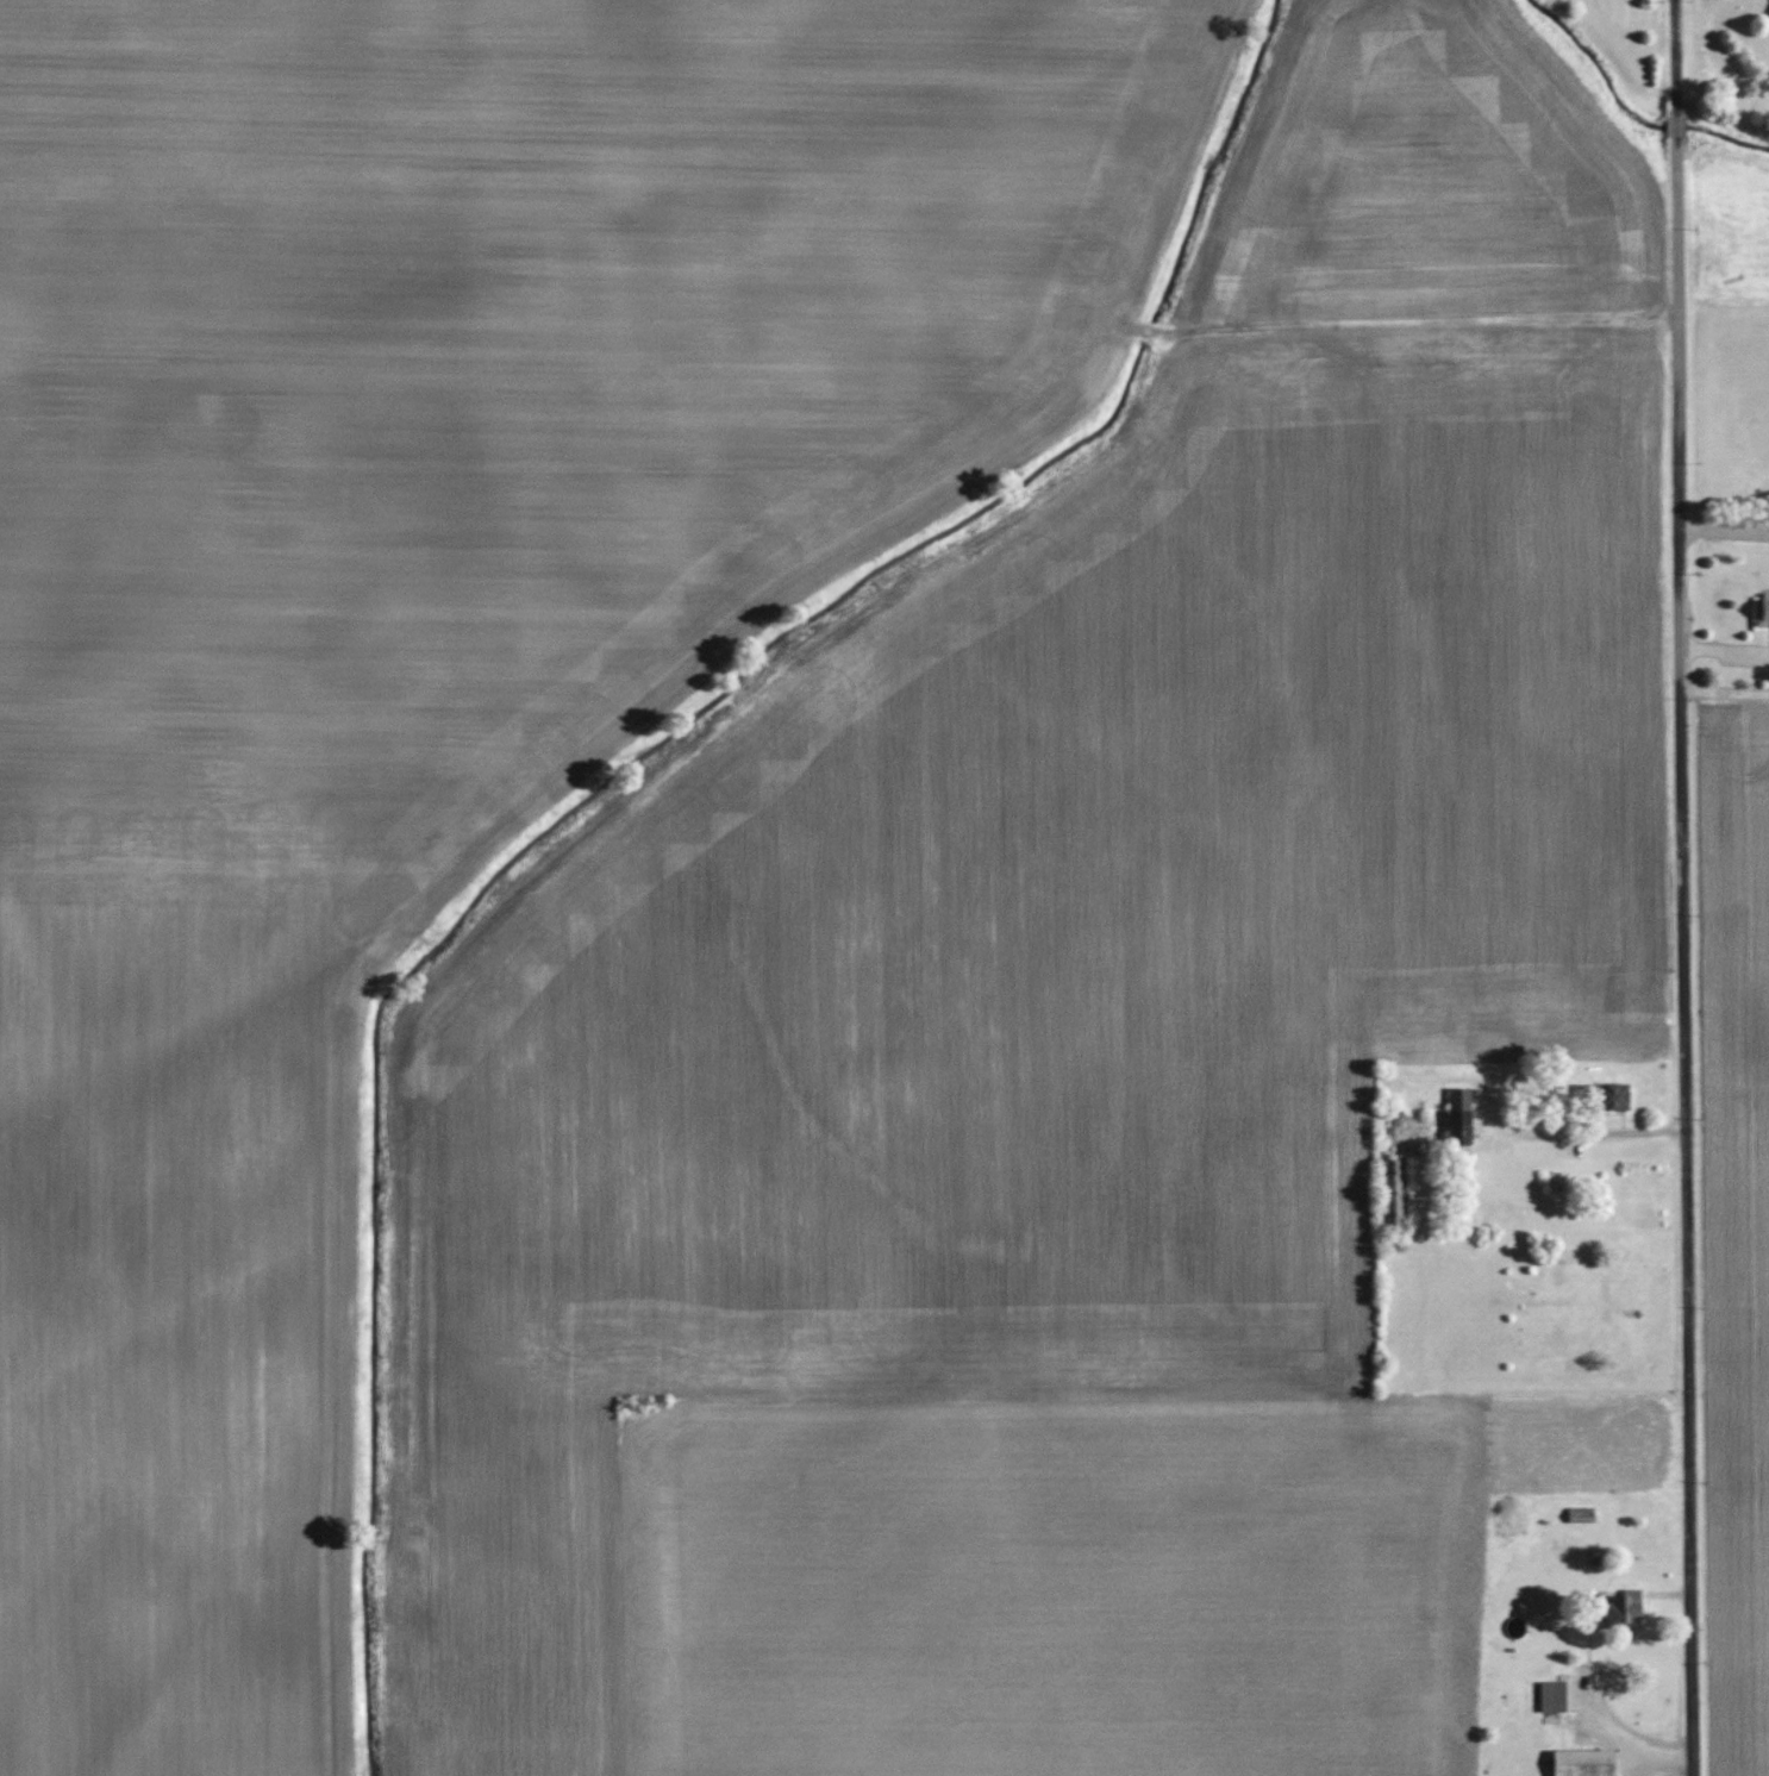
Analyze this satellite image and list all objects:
building: (1762, 611)
road: (1682, 887)
building: (1605, 1098)
building: (1459, 1117)
building: (1390, 1192)
building: (1580, 1514)
building: (1618, 1606)
building: (1556, 1697)
building: (1583, 1763)

